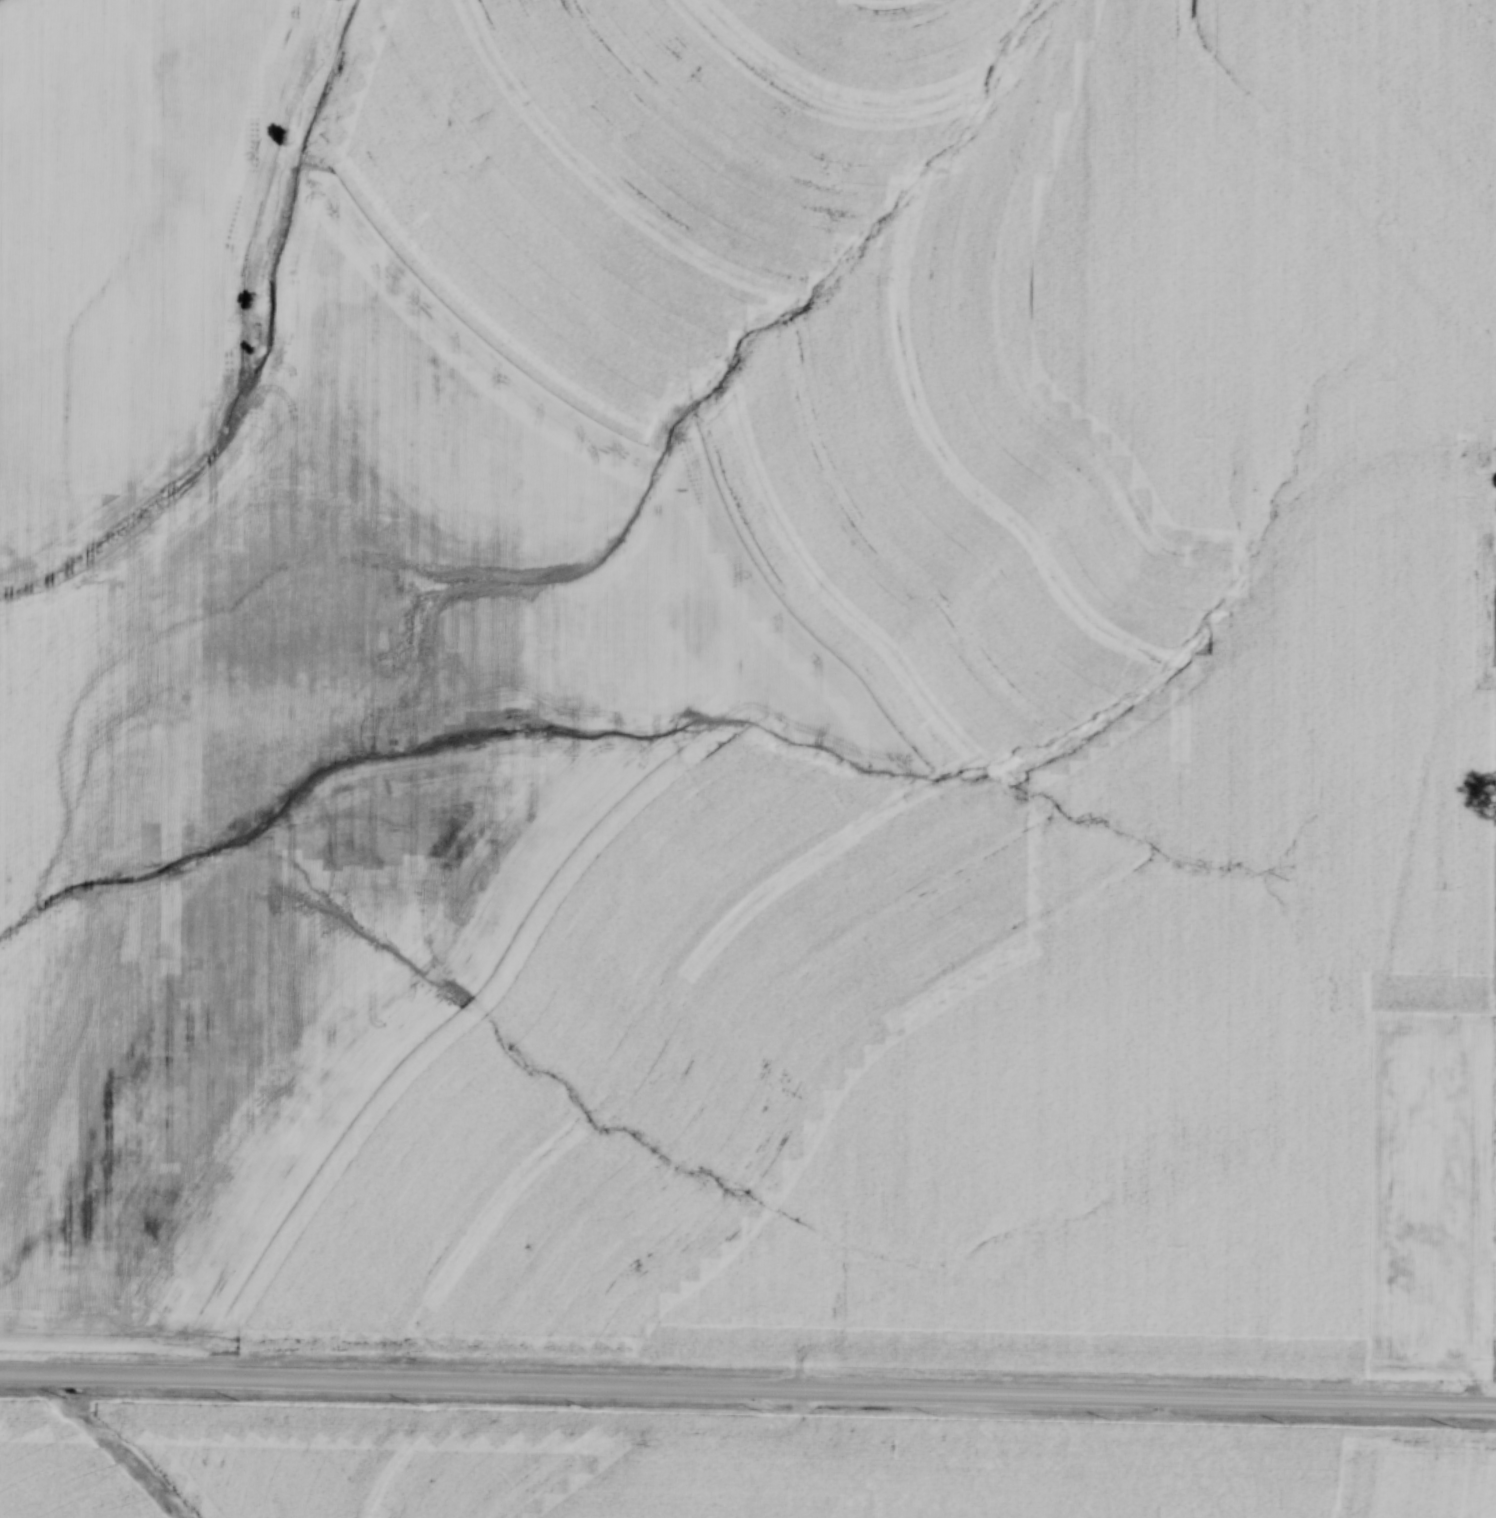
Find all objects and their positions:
road: (748, 1392)

